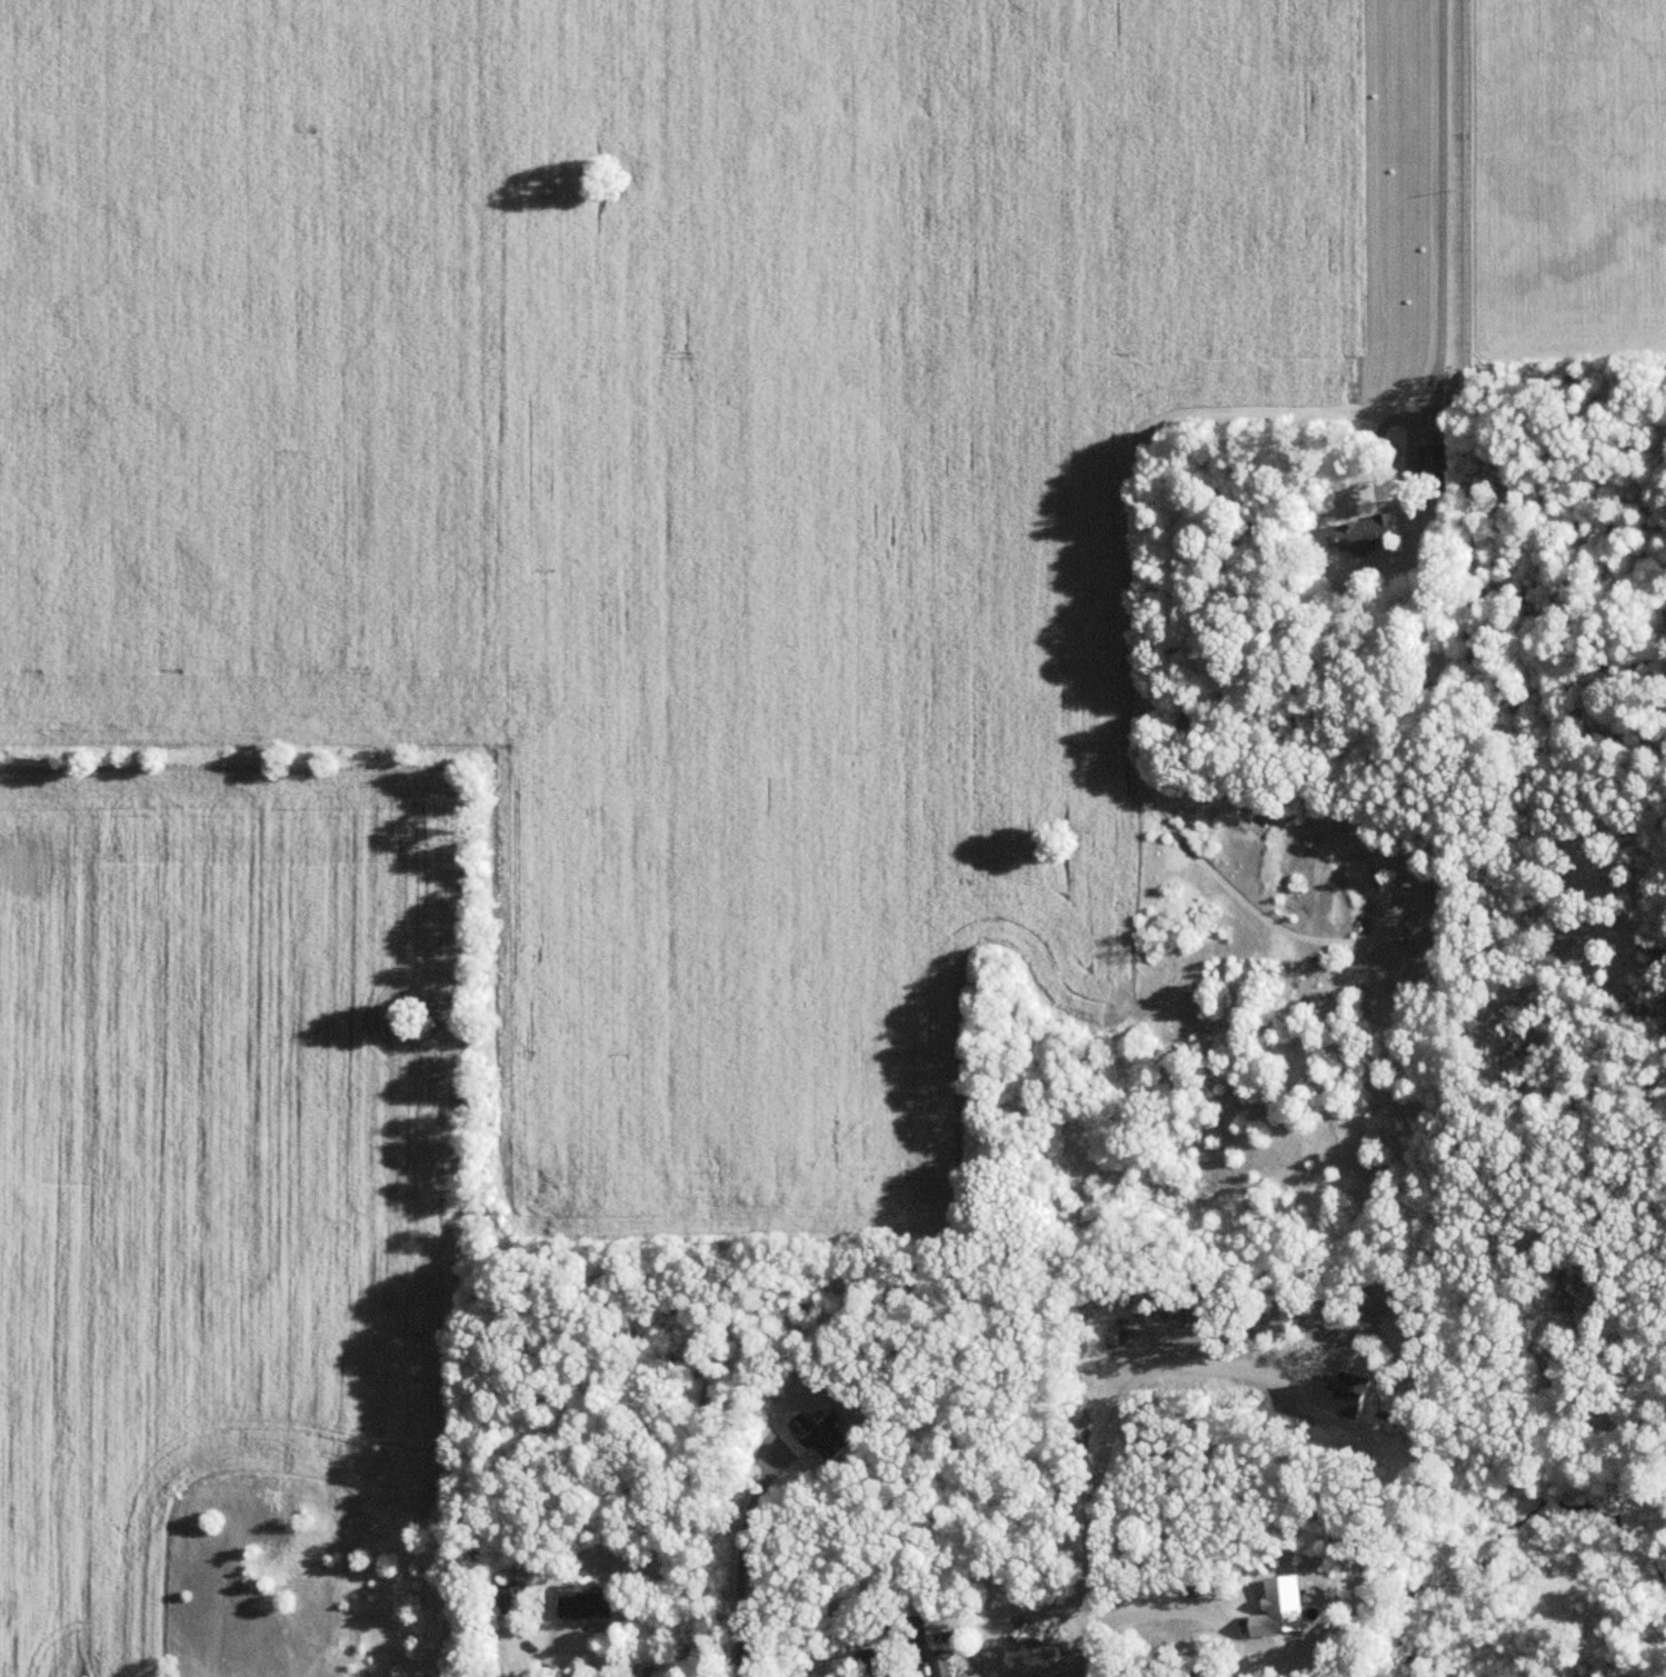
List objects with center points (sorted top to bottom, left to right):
road: (889, 119)
road: (1439, 207)
building: (1436, 469)
building: (1368, 533)
road: (1101, 1431)
road: (737, 1568)
building: (515, 1599)
building: (588, 1607)
road: (1150, 1613)
road: (552, 1650)
road: (914, 1654)
building: (880, 1663)
building: (941, 1667)
building: (649, 1673)

